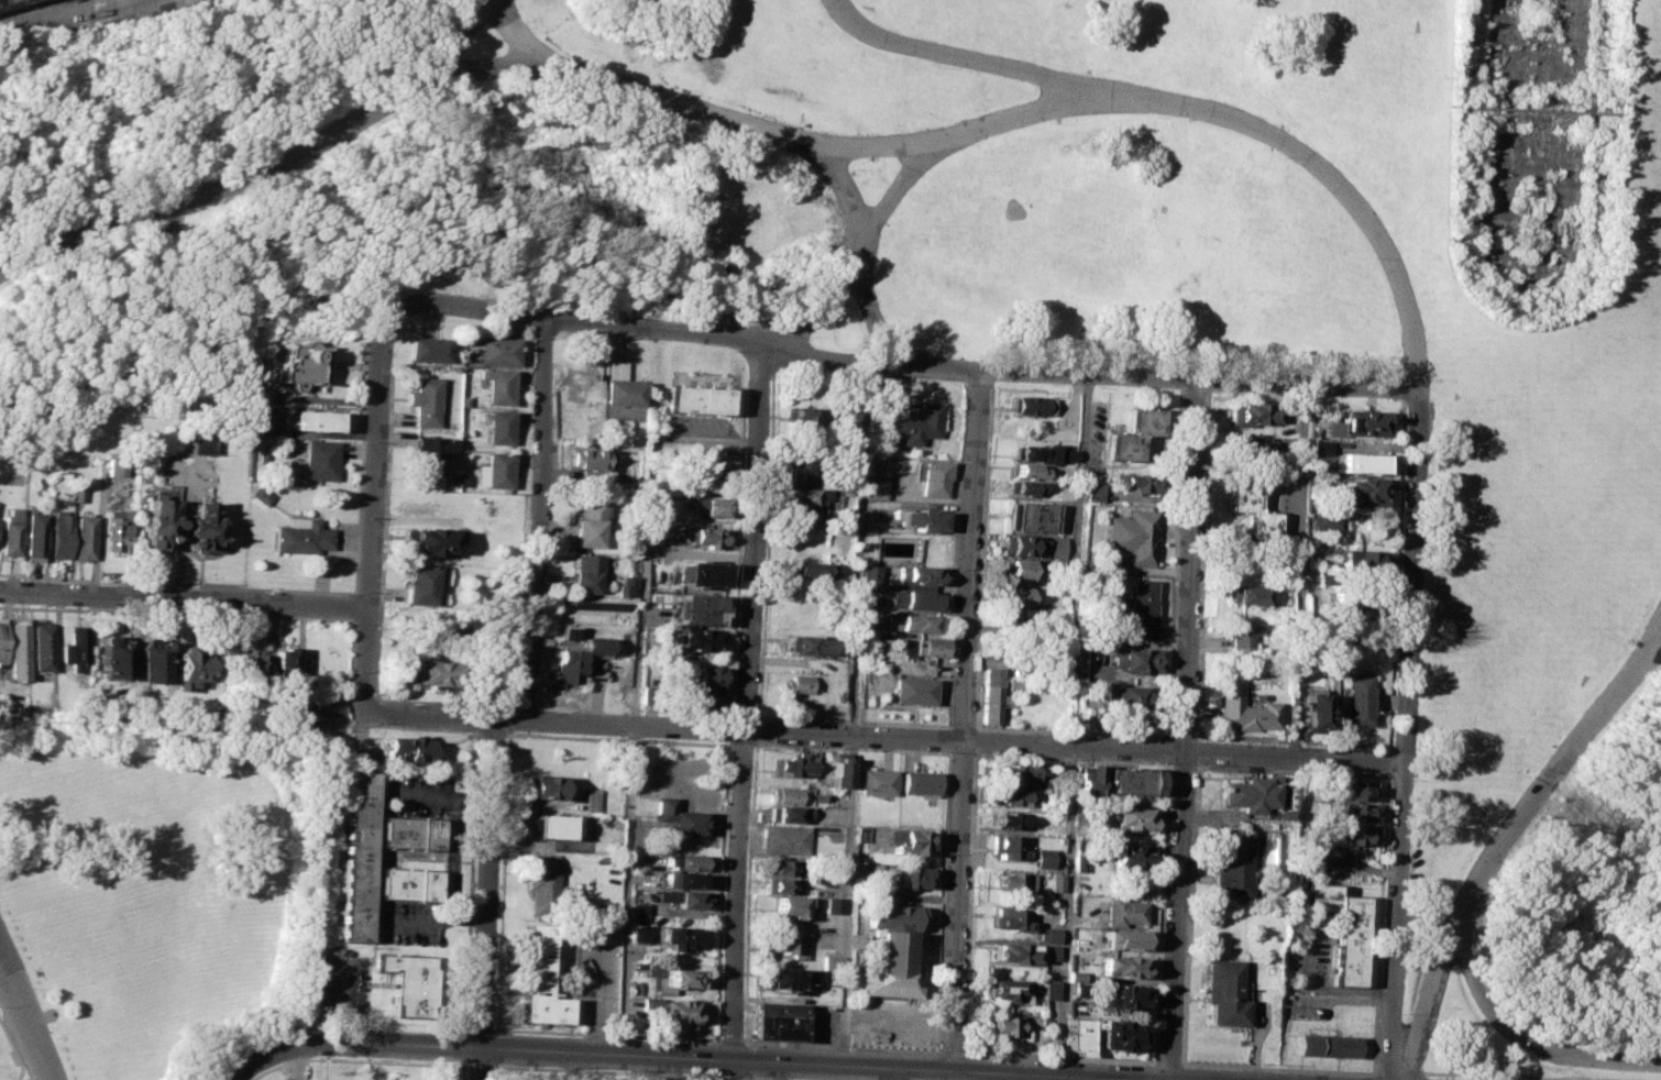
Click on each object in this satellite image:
building: (13, 3)
road: (992, 65)
road: (492, 67)
road: (1021, 118)
road: (266, 174)
park: (1018, 210)
road: (862, 245)
road: (858, 254)
park: (1027, 311)
building: (426, 349)
building: (496, 350)
building: (299, 363)
road: (904, 365)
building: (613, 370)
road: (977, 378)
building: (496, 386)
building: (619, 390)
building: (695, 398)
building: (422, 400)
building: (1036, 405)
building: (1255, 414)
building: (798, 415)
building: (312, 420)
building: (1358, 422)
building: (919, 423)
building: (495, 425)
parking lot: (693, 430)
building: (1134, 433)
road: (694, 440)
building: (1251, 444)
building: (197, 445)
building: (1320, 445)
building: (427, 453)
building: (1032, 453)
building: (1070, 454)
building: (585, 458)
building: (712, 458)
building: (318, 460)
building: (1357, 462)
building: (114, 466)
road: (359, 466)
building: (801, 469)
building: (491, 470)
building: (1032, 470)
building: (935, 476)
building: (711, 483)
building: (1141, 484)
building: (1031, 486)
building: (879, 488)
building: (1363, 489)
building: (1096, 492)
building: (77, 494)
building: (258, 494)
building: (810, 494)
building: (669, 506)
building: (711, 506)
road: (372, 508)
building: (1252, 511)
building: (807, 514)
building: (1035, 516)
road: (532, 517)
building: (925, 518)
building: (1328, 520)
building: (157, 522)
building: (582, 522)
building: (199, 527)
building: (116, 529)
building: (9, 531)
building: (34, 533)
building: (59, 533)
building: (84, 536)
building: (301, 536)
building: (703, 536)
building: (1135, 536)
building: (427, 540)
road: (765, 541)
building: (1024, 544)
building: (1061, 547)
road: (956, 553)
road: (982, 553)
road: (735, 555)
building: (1356, 559)
road: (1175, 563)
road: (1202, 564)
building: (811, 567)
building: (1023, 569)
road: (1300, 571)
road: (1394, 572)
building: (579, 573)
building: (702, 573)
building: (921, 574)
building: (875, 575)
building: (1323, 576)
building: (420, 584)
building: (1244, 594)
building: (1024, 596)
road: (183, 598)
building: (916, 598)
road: (380, 600)
building: (696, 602)
road: (352, 605)
building: (1355, 606)
building: (1142, 607)
building: (696, 616)
building: (914, 622)
building: (873, 630)
building: (565, 631)
building: (1237, 635)
building: (2, 637)
building: (700, 638)
building: (807, 646)
building: (16, 647)
building: (42, 647)
building: (73, 647)
building: (926, 647)
building: (111, 655)
building: (574, 658)
building: (1134, 660)
building: (147, 661)
building: (285, 664)
building: (185, 666)
building: (251, 668)
building: (432, 672)
building: (705, 674)
building: (796, 683)
building: (1018, 684)
building: (914, 690)
building: (992, 695)
building: (1126, 696)
building: (707, 697)
building: (306, 698)
building: (1356, 699)
building: (1240, 706)
building: (333, 707)
building: (15, 709)
road: (730, 712)
road: (743, 712)
road: (747, 712)
building: (1309, 712)
road: (756, 713)
road: (856, 714)
road: (510, 718)
road: (968, 719)
road: (854, 720)
road: (364, 723)
road: (1074, 724)
road: (963, 726)
road: (728, 728)
road: (757, 729)
road: (1071, 729)
road: (1185, 730)
road: (491, 731)
road: (1406, 735)
road: (1182, 736)
road: (887, 737)
road: (977, 738)
road: (1291, 738)
road: (618, 739)
road: (948, 739)
road: (744, 745)
building: (411, 747)
road: (851, 747)
road: (1168, 749)
road: (1196, 750)
road: (961, 752)
building: (360, 754)
road: (1071, 754)
road: (634, 759)
road: (1386, 759)
road: (1181, 763)
building: (793, 764)
building: (1060, 770)
road: (1386, 771)
building: (838, 772)
building: (1015, 772)
building: (1087, 779)
building: (876, 781)
building: (920, 781)
building: (1130, 781)
building: (546, 787)
building: (1353, 789)
building: (1057, 792)
building: (1247, 793)
parking lot: (419, 794)
building: (785, 794)
road: (444, 795)
building: (1008, 796)
building: (818, 797)
building: (593, 800)
building: (1353, 812)
building: (787, 813)
building: (1059, 815)
building: (1133, 818)
building: (1009, 819)
building: (549, 825)
road: (1383, 827)
building: (408, 831)
building: (1351, 835)
road: (1508, 837)
building: (784, 839)
building: (908, 840)
building: (1008, 846)
building: (1129, 853)
building: (355, 855)
building: (1043, 857)
building: (690, 861)
building: (1078, 862)
building: (1230, 862)
building: (783, 867)
building: (912, 877)
building: (687, 879)
road: (469, 881)
road: (502, 881)
building: (1014, 881)
building: (1054, 882)
building: (406, 883)
building: (781, 883)
building: (544, 890)
road: (722, 891)
road: (749, 892)
building: (1078, 896)
park: (154, 897)
road: (485, 899)
building: (686, 899)
road: (969, 900)
road: (942, 901)
building: (833, 904)
building: (794, 906)
building: (638, 911)
building: (1122, 911)
road: (1160, 912)
road: (1189, 913)
building: (890, 916)
building: (1010, 918)
parking lot: (406, 921)
road: (437, 924)
building: (1342, 928)
building: (639, 932)
building: (1047, 934)
building: (683, 937)
building: (1126, 938)
building: (790, 945)
building: (1012, 951)
building: (1050, 952)
building: (829, 961)
building: (1124, 965)
road: (14, 971)
building: (1076, 974)
building: (680, 977)
building: (785, 978)
building: (538, 979)
parking lot: (595, 979)
parking lot: (343, 982)
building: (407, 982)
building: (1005, 988)
road: (1327, 988)
building: (1050, 989)
building: (1081, 990)
building: (1225, 992)
building: (1121, 995)
road: (595, 1000)
road: (341, 1005)
building: (674, 1016)
building: (774, 1020)
road: (33, 1023)
parking lot: (821, 1023)
building: (1005, 1024)
building: (1120, 1033)
road: (607, 1034)
building: (1077, 1034)
road: (1522, 1037)
road: (729, 1040)
building: (1329, 1044)
road: (839, 1045)
road: (493, 1046)
road: (462, 1047)
road: (949, 1051)
road: (693, 1057)
road: (715, 1057)
road: (1058, 1057)
road: (743, 1058)
traffic signals: (730, 1059)
road: (352, 1060)
road: (299, 1061)
road: (1168, 1062)
road: (1278, 1068)
road: (460, 1070)
road: (491, 1070)
road: (604, 1070)
road: (1400, 1072)
road: (899, 1073)
road: (1522, 1073)
road: (715, 1076)
park: (695, 1077)
road: (727, 1077)
road: (743, 1077)
road: (1030, 1077)
parking lot: (290, 1078)
building: (658, 1078)
road: (760, 1078)
road: (1372, 1078)
parking lot: (557, 1079)

